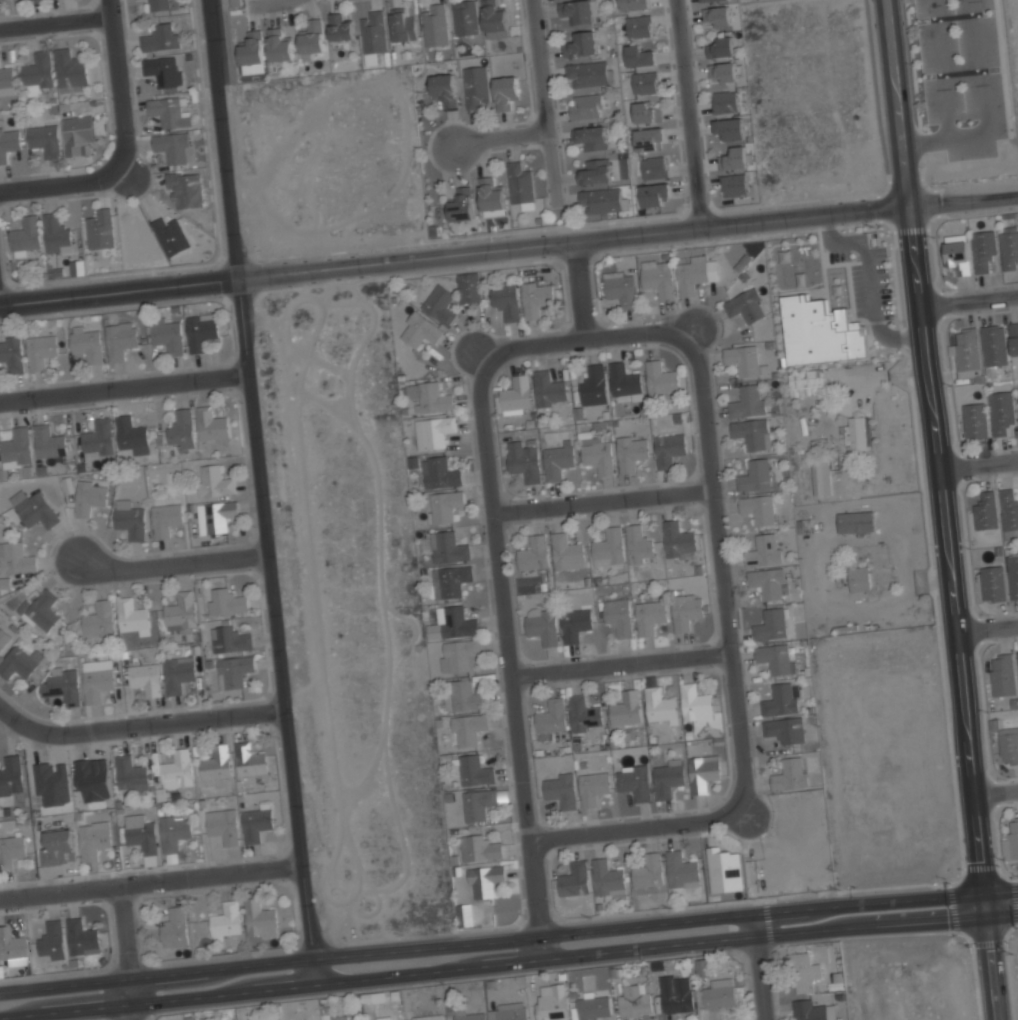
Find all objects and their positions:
building: (704, 0)
road: (269, 2)
building: (633, 4)
building: (158, 5)
building: (578, 10)
building: (717, 15)
building: (465, 17)
building: (494, 19)
road: (56, 24)
building: (435, 24)
building: (403, 25)
building: (637, 25)
building: (340, 27)
building: (372, 35)
building: (160, 38)
building: (312, 38)
building: (582, 43)
building: (279, 44)
building: (720, 46)
building: (252, 52)
building: (638, 55)
building: (70, 69)
building: (38, 70)
building: (722, 70)
building: (163, 71)
building: (589, 73)
road: (1002, 73)
parking lot: (963, 74)
building: (6, 77)
park: (966, 80)
building: (644, 81)
building: (476, 86)
building: (444, 87)
road: (116, 88)
building: (505, 91)
road: (545, 100)
building: (724, 100)
building: (586, 105)
building: (645, 112)
building: (168, 113)
road: (688, 113)
building: (730, 127)
building: (76, 135)
building: (591, 136)
road: (968, 137)
building: (649, 138)
road: (502, 139)
building: (43, 140)
road: (925, 141)
building: (8, 143)
building: (172, 148)
building: (734, 157)
building: (653, 166)
building: (595, 171)
road: (61, 184)
building: (521, 184)
building: (734, 184)
building: (185, 190)
building: (652, 193)
building: (491, 197)
building: (603, 201)
building: (461, 204)
building: (100, 230)
building: (26, 235)
building: (57, 235)
building: (170, 237)
road: (509, 247)
building: (1009, 247)
building: (983, 249)
building: (956, 255)
building: (692, 274)
building: (657, 278)
road: (586, 285)
building: (470, 287)
building: (620, 287)
building: (535, 297)
building: (507, 299)
road: (968, 302)
building: (439, 304)
building: (745, 306)
building: (201, 330)
building: (419, 330)
road: (595, 330)
building: (819, 331)
building: (167, 336)
building: (1014, 338)
building: (120, 340)
building: (86, 344)
building: (994, 346)
building: (967, 349)
building: (41, 350)
building: (11, 354)
building: (744, 360)
building: (660, 376)
building: (625, 380)
building: (806, 381)
road: (121, 384)
building: (593, 384)
building: (549, 387)
building: (516, 394)
building: (1017, 394)
building: (430, 398)
building: (746, 401)
building: (1001, 411)
building: (975, 419)
building: (211, 425)
building: (182, 429)
building: (433, 431)
building: (858, 432)
building: (130, 433)
building: (751, 433)
building: (98, 437)
building: (49, 442)
building: (16, 448)
building: (668, 448)
building: (631, 451)
building: (597, 453)
building: (524, 459)
building: (558, 461)
road: (978, 465)
building: (440, 472)
building: (754, 475)
building: (821, 476)
building: (213, 481)
road: (259, 492)
road: (608, 493)
building: (89, 496)
building: (446, 505)
building: (757, 508)
building: (34, 509)
road: (943, 509)
building: (1008, 509)
building: (985, 510)
building: (219, 515)
building: (166, 519)
building: (130, 520)
building: (856, 521)
building: (678, 537)
building: (639, 544)
building: (449, 546)
building: (608, 546)
building: (566, 549)
building: (763, 549)
building: (534, 552)
building: (15, 558)
road: (172, 558)
road: (727, 558)
building: (1013, 576)
building: (859, 577)
building: (451, 580)
building: (767, 582)
building: (4, 583)
building: (992, 583)
building: (227, 601)
building: (686, 610)
building: (42, 611)
building: (180, 611)
building: (131, 616)
building: (618, 616)
building: (650, 616)
building: (99, 620)
building: (455, 621)
building: (575, 624)
building: (770, 624)
building: (542, 625)
road: (987, 628)
building: (230, 639)
building: (3, 641)
road: (514, 651)
building: (458, 655)
road: (625, 655)
building: (1017, 656)
building: (773, 658)
building: (20, 663)
building: (234, 670)
building: (178, 673)
building: (1002, 676)
building: (145, 679)
building: (97, 680)
building: (62, 686)
building: (466, 694)
building: (779, 699)
building: (695, 701)
building: (659, 705)
building: (625, 708)
building: (584, 712)
road: (137, 716)
building: (552, 716)
building: (469, 728)
building: (784, 729)
building: (1008, 745)
building: (249, 760)
building: (216, 764)
building: (475, 770)
building: (176, 771)
building: (703, 772)
building: (790, 773)
building: (11, 774)
building: (130, 774)
building: (667, 777)
building: (93, 779)
building: (634, 781)
building: (52, 783)
building: (593, 787)
building: (560, 789)
road: (997, 789)
building: (479, 803)
road: (641, 820)
building: (256, 824)
building: (223, 827)
building: (174, 833)
building: (141, 837)
building: (93, 840)
building: (1011, 841)
building: (480, 848)
building: (10, 852)
building: (681, 870)
building: (647, 871)
building: (724, 871)
building: (608, 877)
building: (574, 878)
building: (485, 880)
road: (150, 881)
traffic signals: (985, 892)
building: (465, 915)
traffic signals: (983, 918)
building: (259, 919)
building: (226, 920)
building: (175, 927)
road: (123, 932)
building: (81, 938)
road: (508, 938)
building: (52, 941)
building: (10, 949)
road: (508, 964)
building: (702, 966)
road: (757, 967)
building: (804, 971)
building: (673, 991)
building: (719, 994)
road: (130, 999)
building: (635, 1000)
building: (591, 1007)
building: (552, 1009)
building: (812, 1010)
building: (508, 1011)
building: (470, 1015)
building: (338, 1017)
building: (430, 1017)
building: (382, 1018)

